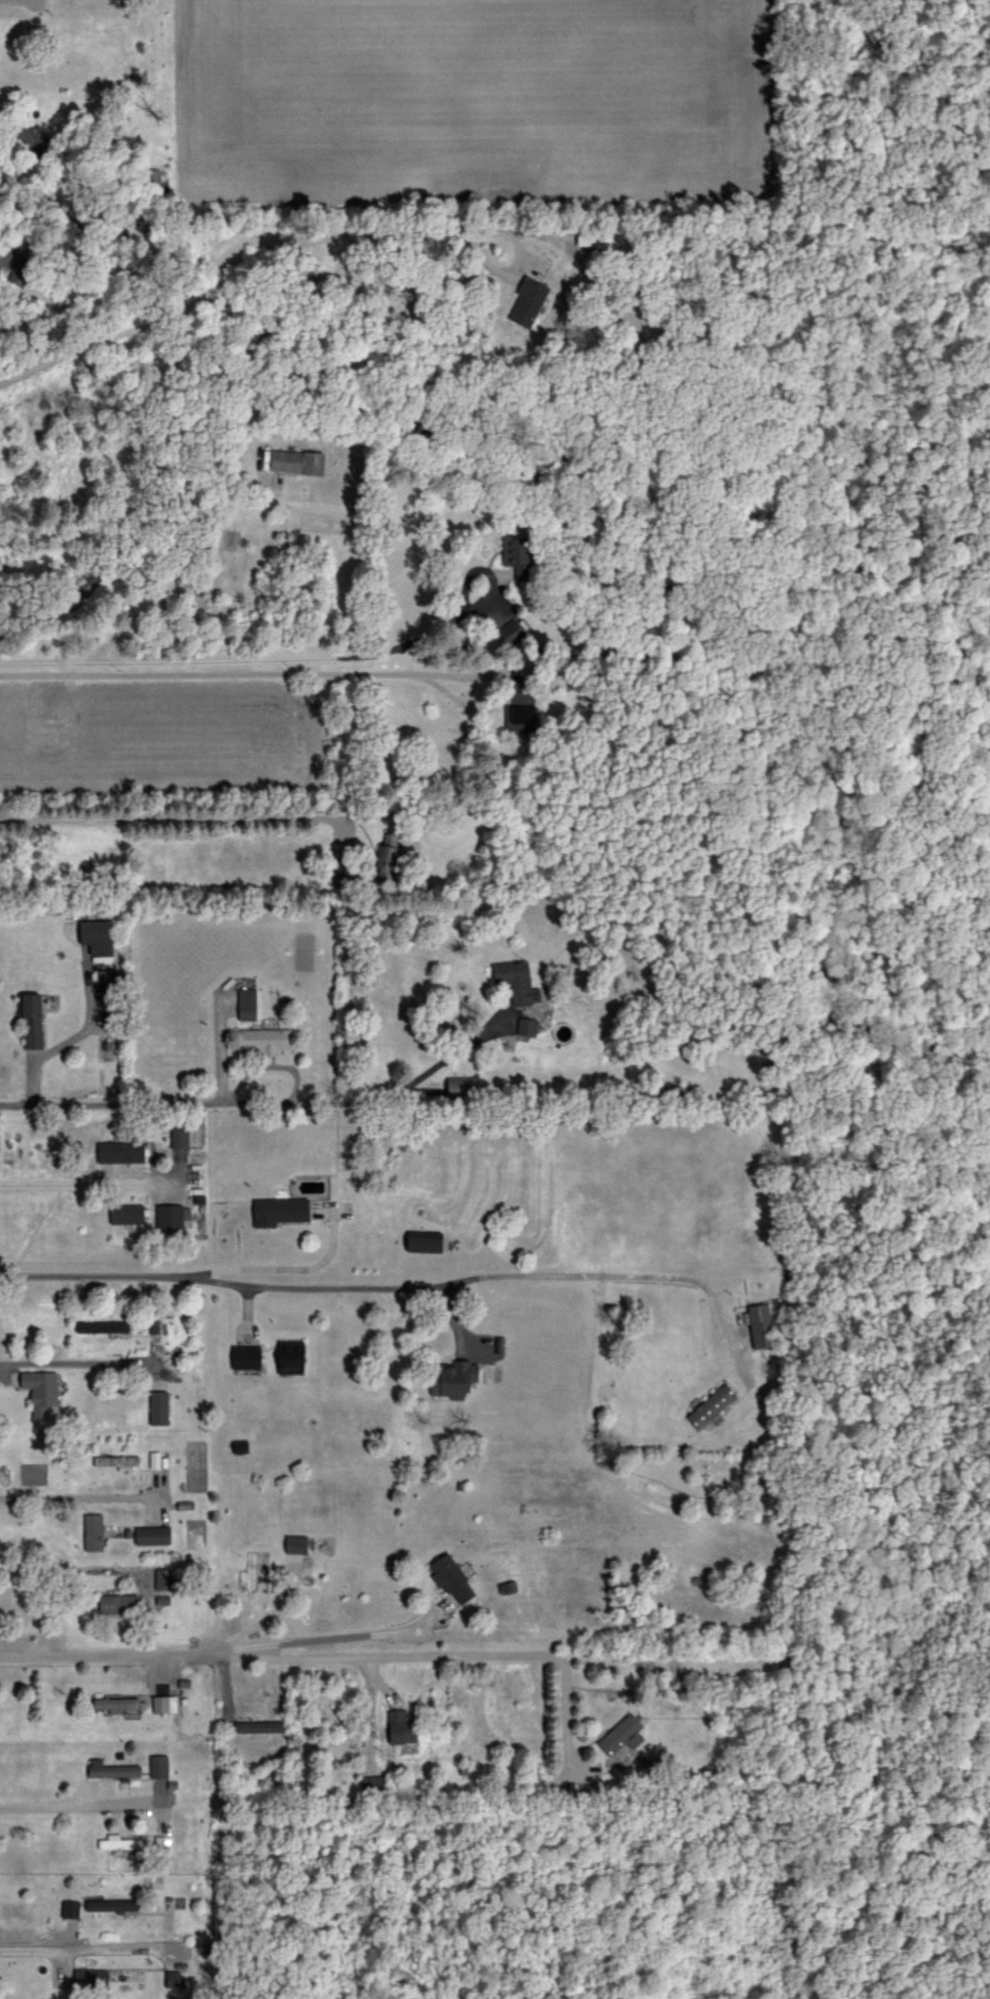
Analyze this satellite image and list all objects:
building: (591, 237)
building: (16, 265)
road: (219, 265)
road: (522, 265)
building: (528, 301)
building: (298, 461)
building: (515, 549)
building: (522, 574)
building: (512, 632)
road: (255, 659)
road: (250, 673)
building: (521, 707)
road: (172, 819)
building: (388, 851)
building: (346, 877)
building: (98, 936)
building: (106, 980)
building: (517, 981)
building: (248, 1004)
building: (32, 1019)
building: (527, 1026)
building: (523, 1035)
building: (265, 1040)
road: (296, 1075)
building: (458, 1085)
road: (112, 1104)
building: (180, 1136)
building: (122, 1151)
building: (280, 1211)
building: (127, 1213)
building: (174, 1216)
building: (425, 1241)
road: (399, 1287)
building: (762, 1322)
building: (103, 1326)
building: (292, 1356)
building: (247, 1357)
road: (72, 1362)
building: (453, 1379)
building: (41, 1391)
building: (712, 1406)
building: (159, 1407)
building: (101, 1461)
road: (76, 1492)
building: (94, 1532)
building: (153, 1535)
building: (297, 1544)
road: (78, 1570)
building: (164, 1578)
building: (453, 1579)
building: (119, 1604)
road: (314, 1636)
road: (330, 1653)
building: (165, 1703)
building: (116, 1704)
building: (259, 1726)
building: (401, 1727)
building: (622, 1735)
building: (160, 1766)
building: (113, 1769)
building: (373, 1784)
road: (65, 1805)
building: (120, 1842)
building: (112, 1904)
building: (71, 1909)
road: (74, 1943)
building: (170, 1976)
building: (91, 1978)

